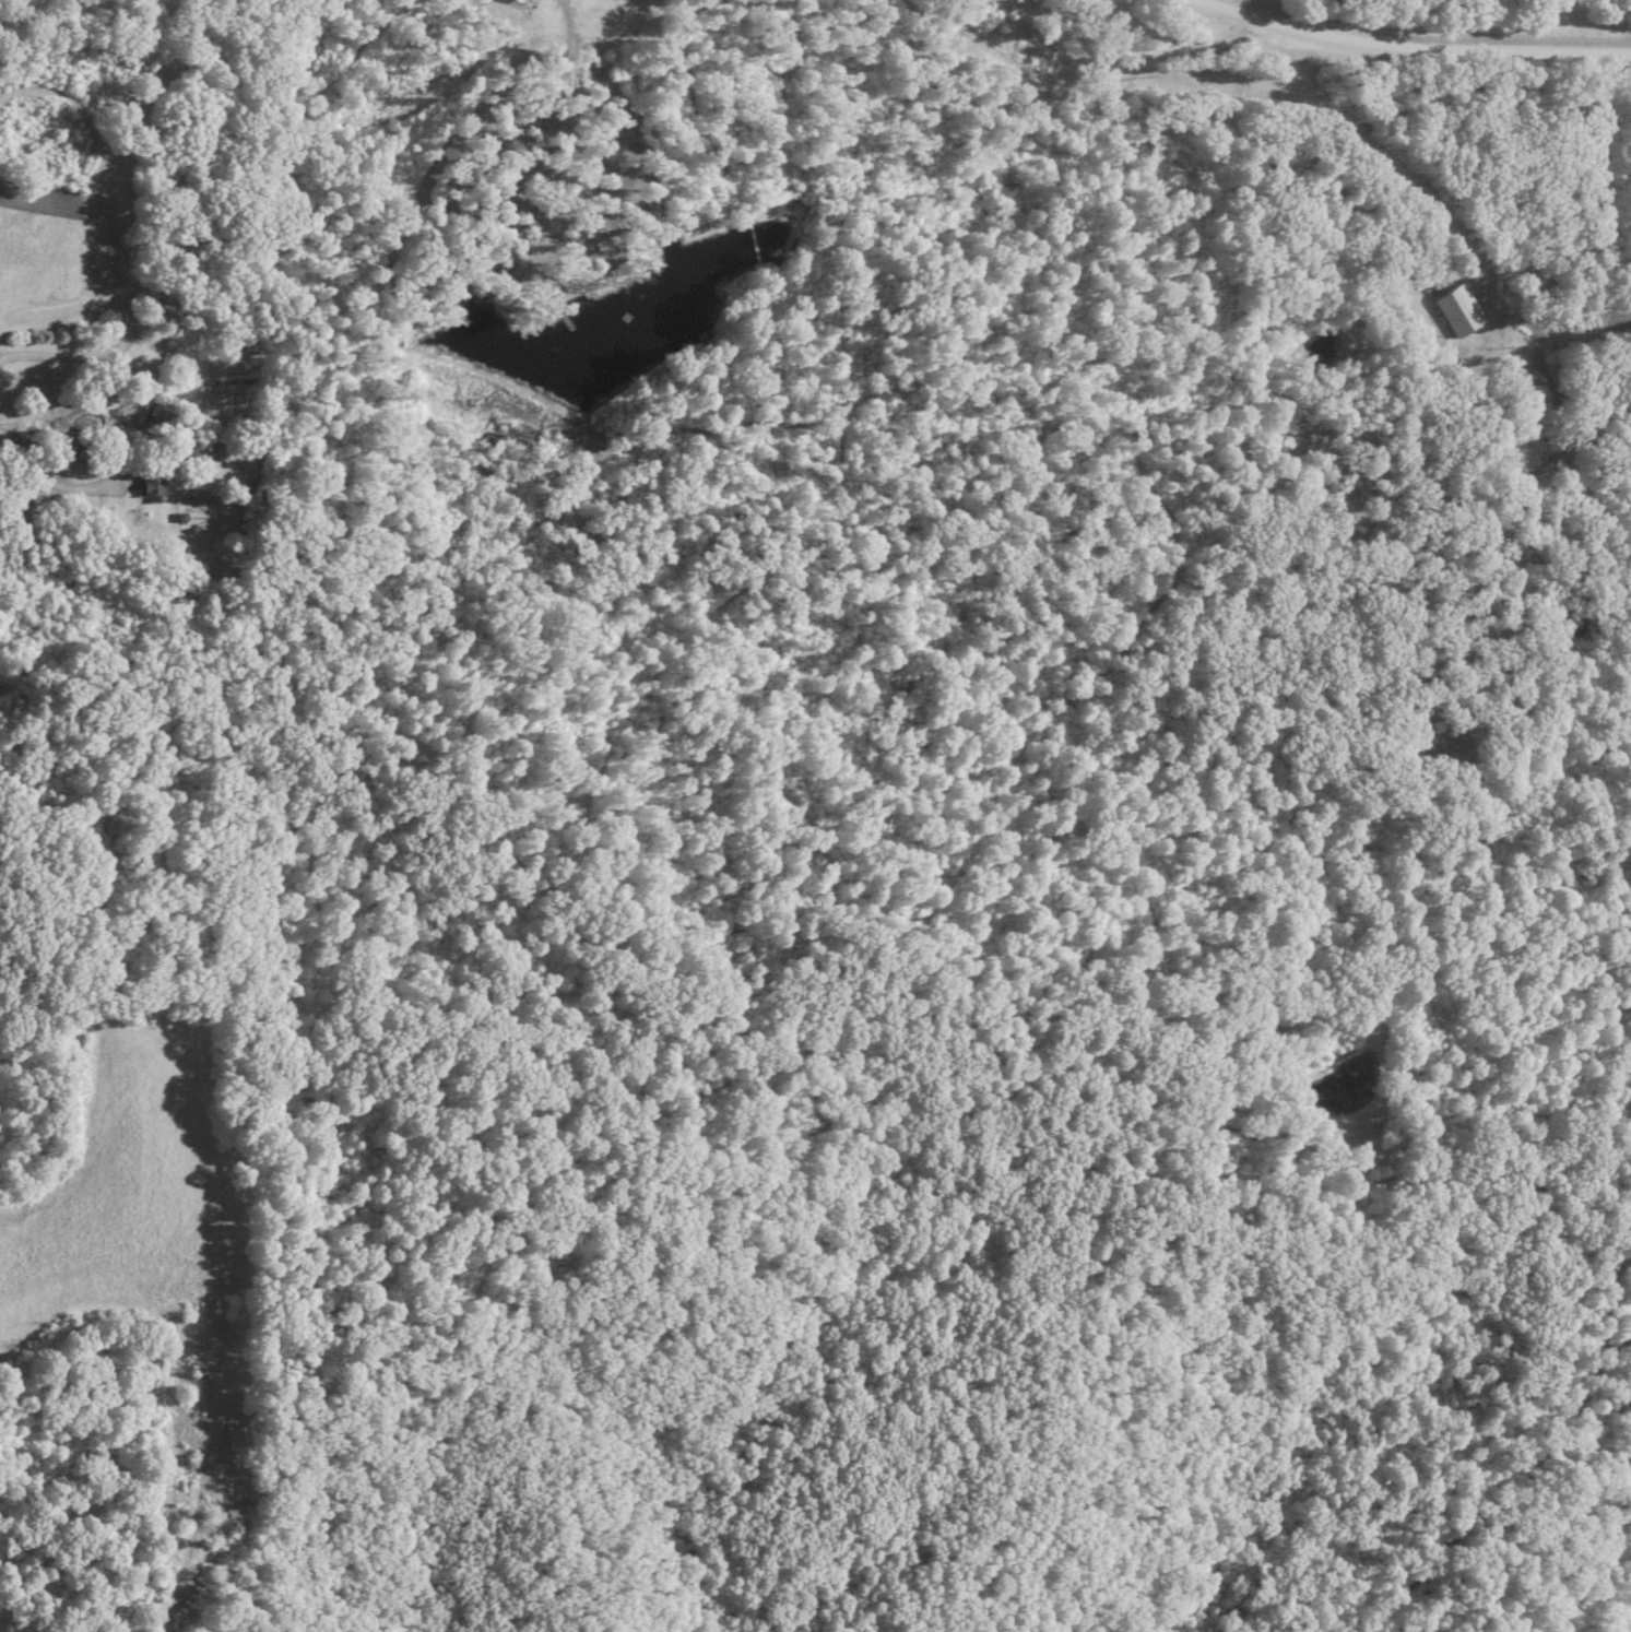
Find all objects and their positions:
building: (511, 0)
road: (1413, 38)
building: (1458, 306)
building: (1543, 414)
building: (152, 484)

